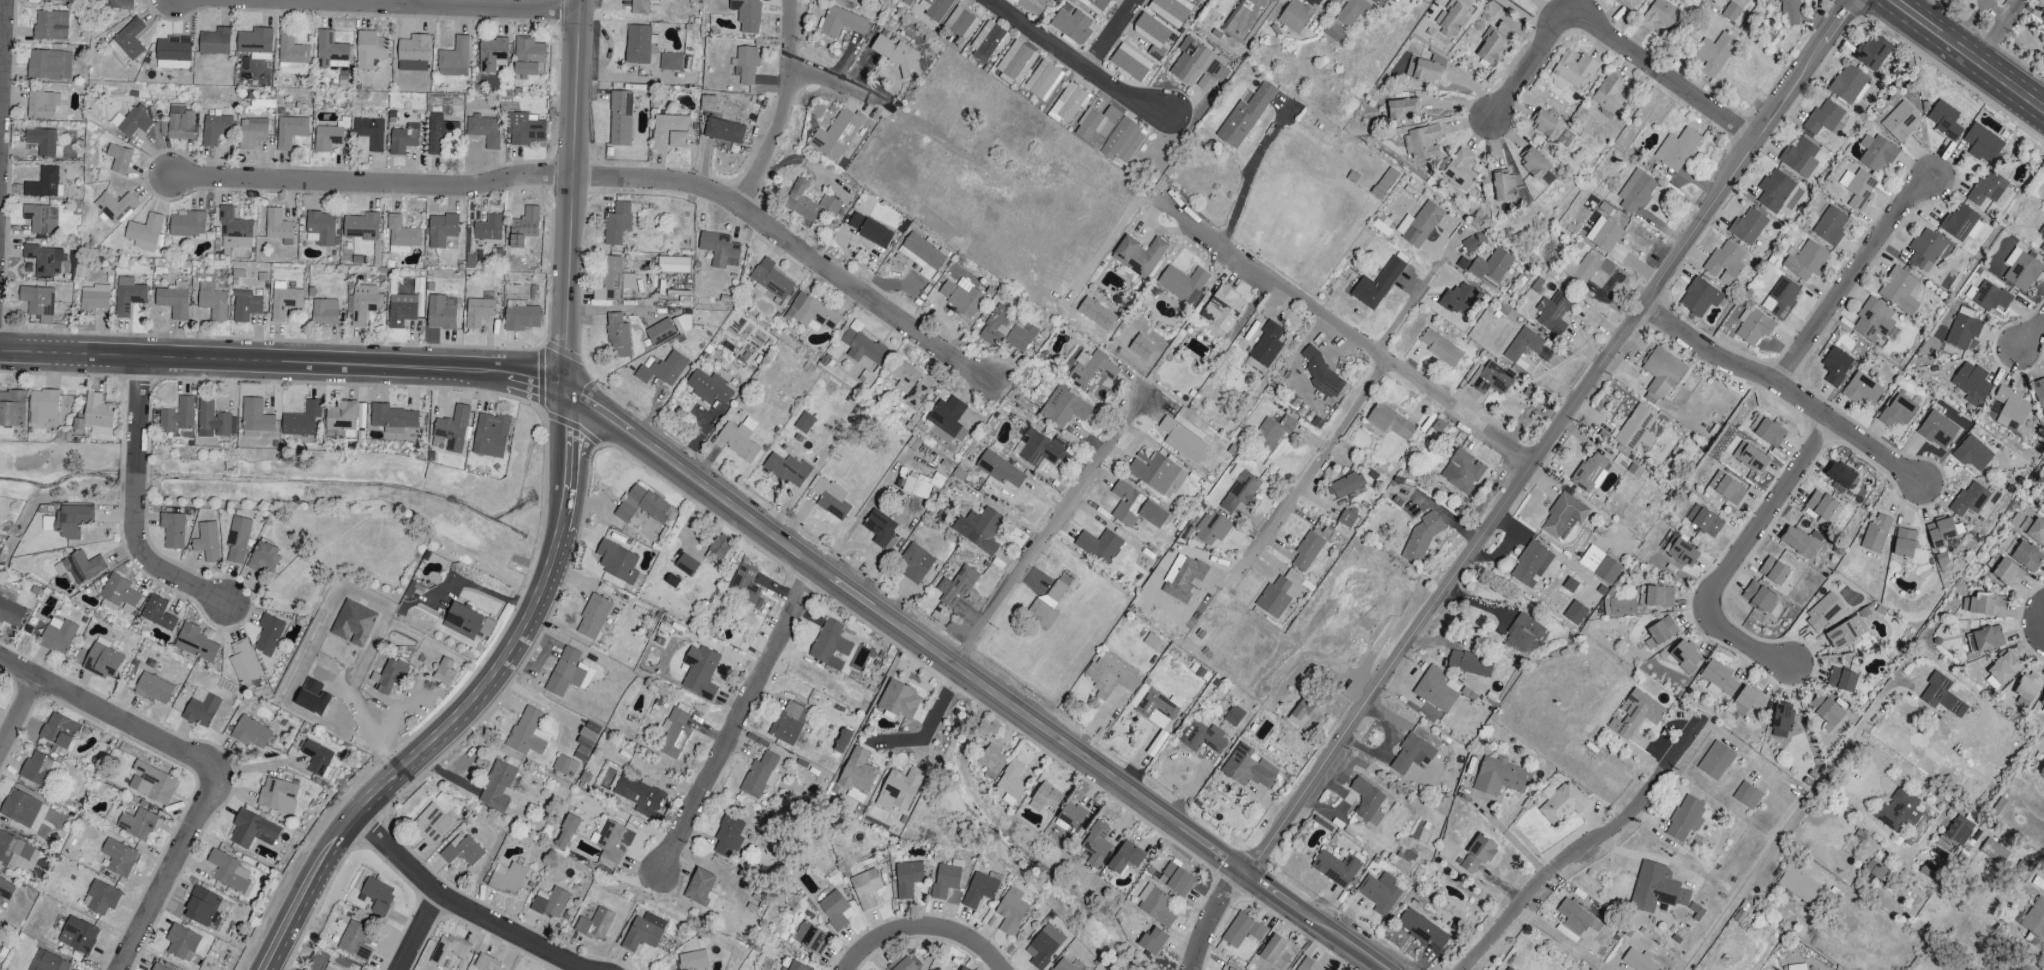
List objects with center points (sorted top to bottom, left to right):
building: (58, 0)
road: (987, 0)
building: (1333, 1)
building: (907, 2)
building: (1627, 3)
building: (2041, 3)
building: (120, 4)
road: (408, 4)
building: (1095, 5)
building: (1032, 6)
road: (392, 7)
building: (640, 7)
building: (934, 8)
building: (1171, 10)
building: (1352, 11)
building: (1731, 12)
building: (1790, 12)
building: (747, 15)
building: (1295, 16)
building: (1453, 16)
road: (1522, 17)
building: (1659, 17)
road: (1914, 17)
building: (2042, 18)
building: (1247, 20)
building: (841, 23)
building: (961, 23)
building: (51, 25)
building: (1072, 25)
building: (1151, 31)
road: (1999, 31)
building: (1334, 32)
road: (1113, 35)
road: (1610, 39)
building: (128, 41)
building: (215, 42)
building: (987, 42)
building: (256, 43)
building: (637, 45)
building: (1491, 47)
building: (529, 50)
building: (331, 51)
building: (370, 51)
building: (292, 52)
building: (173, 53)
building: (413, 53)
building: (491, 53)
building: (1871, 53)
building: (1714, 54)
building: (897, 55)
building: (454, 59)
road: (1075, 61)
building: (671, 62)
building: (1015, 62)
building: (747, 64)
building: (1130, 64)
building: (49, 65)
building: (1199, 66)
building: (1574, 68)
building: (1426, 70)
building: (525, 71)
road: (1991, 73)
road: (3, 77)
building: (1043, 80)
road: (837, 82)
building: (1848, 85)
building: (1609, 95)
building: (42, 104)
building: (1068, 104)
road: (785, 108)
building: (1404, 109)
building: (1245, 115)
building: (620, 118)
building: (1824, 120)
building: (1944, 120)
building: (131, 122)
building: (1900, 122)
building: (181, 123)
building: (1546, 124)
building: (1095, 126)
building: (215, 129)
building: (525, 129)
building: (484, 130)
building: (290, 131)
building: (724, 131)
building: (670, 132)
building: (252, 133)
building: (370, 133)
building: (440, 133)
building: (837, 135)
building: (327, 138)
building: (403, 139)
building: (42, 141)
building: (1123, 142)
building: (1425, 142)
building: (1982, 144)
building: (1676, 150)
building: (1877, 154)
building: (1800, 157)
building: (119, 159)
building: (1534, 162)
road: (797, 164)
building: (1458, 170)
road: (1248, 177)
road: (614, 179)
building: (1387, 180)
building: (44, 184)
building: (1503, 187)
building: (1858, 189)
building: (1987, 189)
building: (1636, 191)
building: (1774, 191)
road: (572, 194)
building: (809, 203)
building: (114, 208)
building: (41, 219)
building: (618, 223)
building: (1962, 224)
building: (188, 225)
building: (278, 225)
building: (1419, 225)
building: (1830, 226)
building: (363, 227)
building: (1748, 227)
building: (488, 228)
building: (524, 228)
building: (321, 229)
building: (235, 230)
building: (441, 230)
building: (870, 231)
building: (145, 233)
building: (402, 234)
building: (1606, 239)
building: (1474, 242)
building: (720, 250)
building: (1926, 250)
building: (921, 255)
building: (1139, 255)
building: (46, 261)
building: (1805, 261)
building: (1725, 263)
building: (673, 265)
building: (1491, 267)
building: (1585, 269)
building: (2022, 272)
road: (1854, 279)
building: (613, 281)
building: (770, 281)
building: (1183, 284)
building: (1377, 285)
building: (1900, 291)
building: (128, 296)
building: (961, 297)
building: (1988, 297)
building: (1699, 298)
building: (91, 299)
building: (1459, 299)
building: (1781, 299)
building: (173, 302)
building: (212, 302)
building: (284, 302)
building: (39, 303)
building: (363, 303)
building: (245, 306)
road: (1407, 307)
building: (1223, 309)
building: (401, 310)
building: (479, 310)
building: (324, 312)
building: (440, 313)
building: (812, 313)
building: (1555, 314)
building: (520, 316)
building: (1875, 322)
building: (682, 324)
building: (1753, 327)
building: (1963, 330)
building: (1006, 331)
building: (661, 332)
building: (618, 336)
road: (1351, 336)
road: (2034, 336)
building: (1523, 345)
building: (862, 348)
building: (1265, 348)
building: (1441, 349)
road: (283, 363)
building: (1835, 366)
building: (663, 370)
building: (1091, 371)
building: (1662, 373)
building: (1321, 374)
building: (1492, 378)
building: (1971, 382)
building: (909, 383)
building: (709, 388)
road: (1788, 389)
building: (1862, 390)
building: (2039, 392)
building: (43, 406)
building: (1064, 407)
building: (2010, 407)
building: (12, 409)
building: (1898, 411)
building: (96, 416)
building: (177, 417)
building: (361, 417)
building: (342, 418)
building: (255, 419)
building: (393, 419)
building: (302, 420)
building: (947, 420)
building: (214, 421)
building: (804, 423)
building: (1391, 423)
building: (1637, 428)
building: (1937, 430)
building: (451, 431)
building: (1273, 432)
building: (1769, 433)
building: (491, 435)
building: (1183, 439)
building: (738, 441)
building: (1039, 448)
building: (1972, 453)
building: (1752, 459)
road: (1319, 464)
building: (787, 469)
building: (999, 469)
building: (1462, 471)
building: (1590, 471)
building: (1156, 473)
building: (1840, 475)
road: (1522, 483)
building: (1346, 485)
building: (915, 488)
building: (1725, 489)
building: (1240, 491)
building: (830, 498)
road: (135, 506)
building: (643, 506)
building: (1135, 508)
building: (1822, 509)
building: (2043, 514)
building: (1563, 517)
building: (1346, 518)
building: (72, 520)
building: (1703, 521)
building: (879, 527)
building: (1212, 528)
building: (979, 529)
building: (172, 530)
building: (1940, 532)
building: (2036, 532)
building: (1875, 534)
building: (237, 539)
building: (1420, 539)
building: (207, 541)
building: (1801, 541)
building: (1904, 543)
building: (1098, 545)
building: (719, 547)
building: (1308, 552)
building: (1680, 552)
building: (2025, 555)
road: (1740, 556)
building: (263, 557)
road: (1033, 559)
building: (617, 561)
building: (914, 564)
building: (1530, 564)
building: (1599, 564)
building: (686, 565)
building: (80, 567)
building: (1773, 571)
building: (2007, 573)
building: (1182, 577)
building: (955, 587)
building: (745, 588)
building: (1278, 594)
building: (118, 595)
building: (1655, 597)
building: (1759, 597)
building: (1983, 605)
building: (1619, 606)
building: (1044, 608)
building: (1822, 612)
building: (11, 613)
building: (157, 613)
building: (1574, 613)
building: (593, 617)
building: (467, 622)
building: (353, 623)
building: (1660, 632)
building: (1523, 633)
building: (1845, 633)
building: (268, 634)
building: (58, 635)
building: (1984, 639)
building: (1152, 642)
building: (195, 643)
building: (831, 645)
building: (1685, 656)
building: (102, 660)
building: (243, 662)
building: (1469, 663)
building: (2003, 668)
building: (446, 671)
building: (700, 672)
building: (568, 673)
building: (1111, 675)
building: (389, 676)
road: (972, 679)
building: (1718, 679)
building: (1841, 680)
building: (153, 688)
building: (1436, 689)
building: (2022, 690)
building: (1941, 695)
building: (312, 697)
building: (899, 700)
building: (1747, 701)
road: (467, 702)
road: (541, 703)
building: (1154, 706)
building: (2042, 708)
building: (201, 710)
building: (1826, 711)
building: (1300, 712)
road: (18, 714)
road: (371, 714)
building: (1636, 714)
building: (1233, 716)
road: (118, 720)
road: (736, 720)
building: (1781, 720)
building: (788, 722)
road: (931, 723)
road: (1858, 725)
building: (60, 731)
building: (251, 732)
building: (527, 733)
building: (674, 733)
building: (1201, 737)
building: (586, 738)
building: (842, 740)
building: (1411, 754)
building: (317, 758)
building: (990, 761)
building: (1715, 761)
building: (564, 765)
road: (255, 766)
building: (1248, 768)
building: (40, 770)
building: (857, 772)
building: (2041, 772)
building: (759, 776)
building: (1500, 776)
building: (1011, 780)
building: (152, 783)
building: (497, 786)
building: (898, 789)
building: (639, 794)
building: (277, 795)
building: (1746, 796)
building: (1045, 798)
building: (1367, 801)
building: (1561, 804)
building: (20, 808)
building: (1898, 811)
building: (1068, 818)
building: (1685, 818)
building: (137, 824)
building: (431, 824)
building: (252, 830)
building: (566, 832)
building: (728, 836)
building: (1953, 837)
road: (1513, 843)
building: (608, 844)
building: (1096, 844)
building: (16, 851)
building: (461, 851)
building: (1993, 851)
road: (1583, 852)
building: (1477, 854)
building: (119, 858)
building: (1125, 858)
building: (1336, 868)
building: (1873, 871)
building: (2022, 871)
building: (228, 872)
building: (508, 878)
building: (907, 879)
building: (1178, 879)
road: (1749, 883)
road: (164, 884)
building: (1798, 885)
building: (699, 886)
building: (865, 888)
building: (1656, 888)
building: (6, 890)
building: (979, 890)
road: (438, 892)
building: (1379, 893)
building: (377, 896)
building: (101, 898)
building: (550, 903)
building: (1155, 905)
building: (201, 906)
building: (835, 909)
building: (1011, 911)
building: (1577, 918)
building: (2034, 919)
building: (595, 924)
road: (924, 928)
building: (1421, 929)
building: (1242, 930)
road: (419, 932)
building: (643, 932)
building: (78, 935)
building: (810, 937)
building: (354, 941)
building: (1153, 941)
building: (182, 943)
building: (1043, 946)
building: (449, 951)
building: (1275, 953)
road: (561, 959)
building: (692, 960)
building: (1637, 960)
building: (47, 962)
building: (487, 964)
building: (905, 965)
building: (1067, 965)
building: (1307, 965)
building: (795, 966)
building: (158, 967)
building: (331, 967)
building: (1796, 967)
building: (963, 968)
building: (1226, 968)
building: (1508, 969)
building: (1588, 969)

